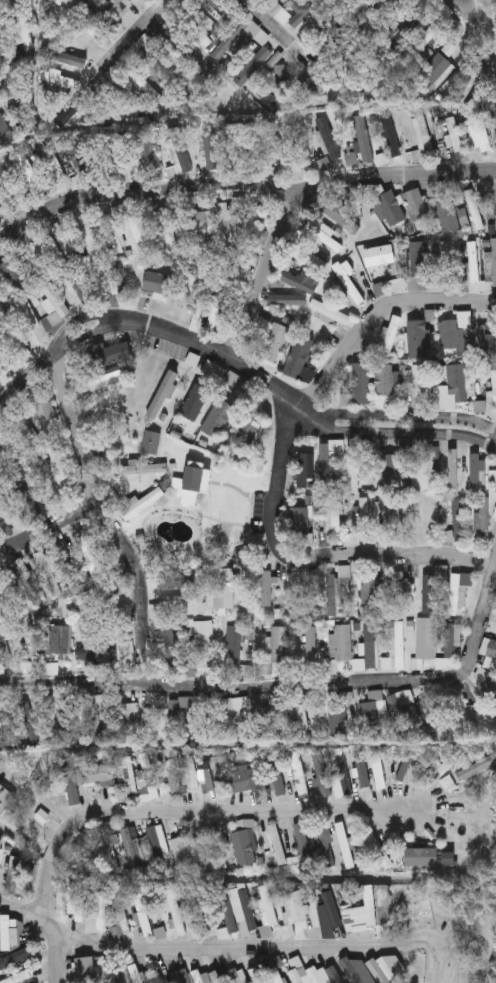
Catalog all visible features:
building: (15, 1)
building: (357, 2)
building: (217, 7)
building: (117, 11)
building: (279, 12)
road: (474, 17)
building: (87, 34)
road: (282, 34)
building: (459, 36)
building: (181, 38)
road: (125, 39)
building: (421, 42)
building: (65, 58)
building: (254, 59)
building: (159, 69)
building: (437, 70)
building: (279, 74)
building: (59, 78)
road: (5, 84)
building: (144, 85)
building: (312, 86)
building: (121, 102)
building: (451, 131)
building: (480, 131)
building: (390, 133)
building: (327, 138)
building: (421, 138)
building: (237, 141)
building: (277, 142)
building: (181, 149)
building: (147, 150)
building: (114, 153)
building: (81, 159)
building: (324, 163)
road: (239, 184)
building: (495, 186)
building: (415, 204)
building: (474, 209)
building: (447, 211)
building: (340, 213)
building: (68, 218)
building: (252, 219)
building: (223, 224)
building: (168, 227)
building: (203, 227)
building: (295, 234)
building: (117, 235)
building: (141, 235)
building: (64, 241)
building: (89, 244)
building: (37, 255)
building: (472, 255)
building: (444, 257)
building: (419, 265)
building: (490, 266)
building: (385, 270)
road: (267, 271)
building: (14, 274)
building: (301, 280)
building: (121, 281)
building: (349, 283)
building: (78, 284)
building: (157, 284)
building: (380, 289)
building: (188, 290)
building: (284, 297)
building: (55, 303)
building: (330, 312)
road: (377, 313)
building: (29, 315)
road: (147, 321)
building: (453, 331)
building: (386, 337)
building: (419, 338)
building: (276, 342)
building: (485, 342)
building: (14, 343)
building: (108, 356)
building: (300, 359)
building: (216, 371)
building: (106, 375)
building: (387, 380)
building: (458, 383)
building: (359, 386)
building: (423, 389)
building: (492, 390)
building: (163, 394)
building: (196, 402)
building: (115, 405)
building: (219, 418)
building: (46, 420)
road: (399, 426)
building: (247, 430)
building: (151, 441)
building: (327, 462)
building: (144, 468)
building: (304, 469)
building: (354, 469)
building: (391, 469)
building: (422, 472)
building: (478, 472)
building: (196, 480)
building: (28, 494)
building: (140, 502)
road: (280, 507)
building: (422, 512)
building: (335, 515)
building: (394, 517)
building: (483, 518)
road: (109, 519)
building: (358, 519)
building: (301, 525)
road: (49, 526)
building: (324, 535)
building: (354, 538)
road: (417, 554)
building: (91, 555)
building: (73, 564)
building: (151, 571)
building: (48, 573)
building: (179, 578)
building: (24, 583)
building: (266, 588)
building: (223, 589)
building: (370, 590)
building: (338, 591)
building: (402, 591)
building: (459, 591)
building: (96, 593)
building: (428, 593)
building: (297, 596)
building: (178, 601)
building: (4, 602)
building: (102, 616)
road: (482, 621)
building: (28, 635)
building: (63, 639)
building: (430, 640)
building: (450, 640)
building: (341, 642)
building: (368, 643)
building: (204, 644)
building: (236, 644)
building: (278, 644)
building: (310, 644)
building: (168, 647)
building: (395, 647)
building: (489, 648)
building: (97, 653)
building: (417, 663)
building: (51, 668)
road: (236, 687)
building: (103, 701)
building: (373, 709)
building: (305, 711)
building: (460, 714)
building: (62, 717)
building: (427, 717)
building: (177, 718)
building: (332, 719)
building: (231, 722)
building: (258, 725)
building: (148, 726)
building: (202, 727)
building: (478, 764)
building: (405, 769)
building: (189, 770)
building: (378, 770)
building: (439, 772)
building: (299, 774)
building: (321, 774)
building: (129, 775)
building: (275, 775)
building: (342, 775)
building: (360, 775)
building: (146, 776)
building: (172, 776)
building: (211, 777)
building: (243, 778)
building: (70, 781)
building: (5, 798)
road: (184, 811)
building: (88, 843)
building: (246, 843)
building: (110, 844)
building: (277, 844)
building: (345, 844)
building: (159, 845)
building: (217, 847)
building: (304, 847)
building: (326, 847)
building: (184, 849)
building: (134, 852)
building: (380, 852)
building: (422, 857)
building: (14, 872)
building: (32, 875)
building: (62, 899)
building: (78, 901)
building: (371, 905)
building: (205, 909)
building: (266, 910)
building: (176, 912)
building: (294, 912)
building: (246, 913)
building: (224, 914)
building: (329, 914)
building: (98, 915)
building: (120, 916)
building: (349, 917)
building: (147, 918)
building: (7, 932)
road: (435, 934)
road: (186, 949)
building: (15, 957)
road: (57, 966)
building: (86, 970)
building: (379, 971)
building: (136, 973)
building: (238, 975)
building: (257, 975)
building: (316, 975)
building: (209, 976)
building: (178, 977)
building: (18, 978)
building: (159, 979)

